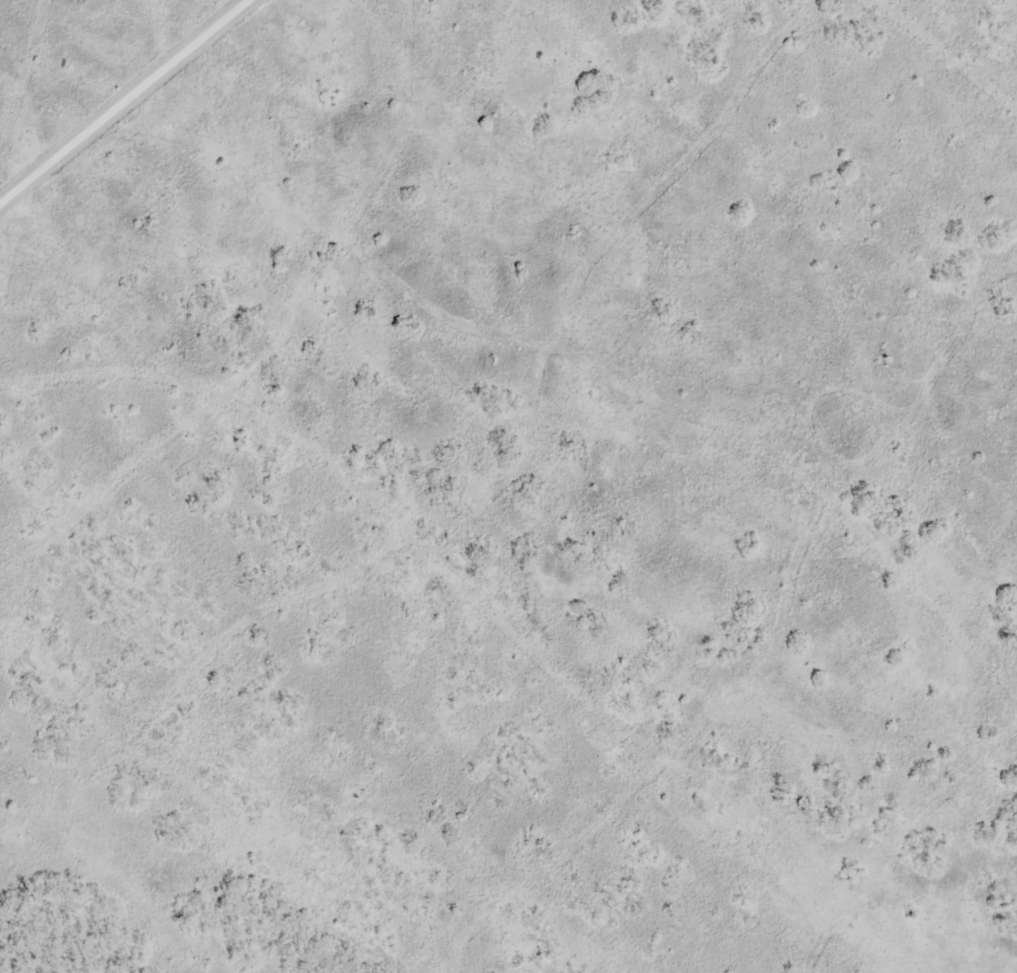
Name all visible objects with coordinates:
road: (124, 100)

